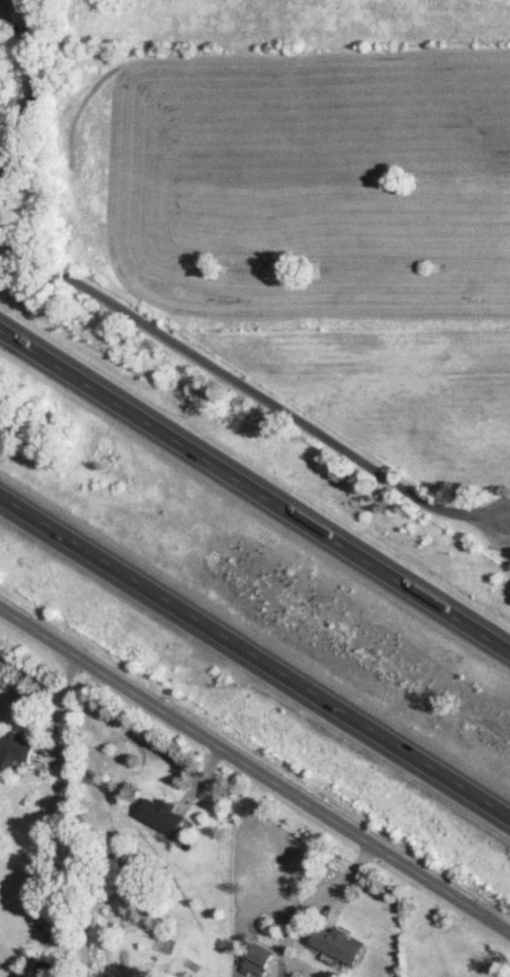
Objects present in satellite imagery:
road: (152, 327)
road: (255, 489)
road: (255, 656)
building: (14, 748)
road: (255, 767)
building: (160, 817)
building: (335, 944)
building: (257, 961)
building: (33, 967)

